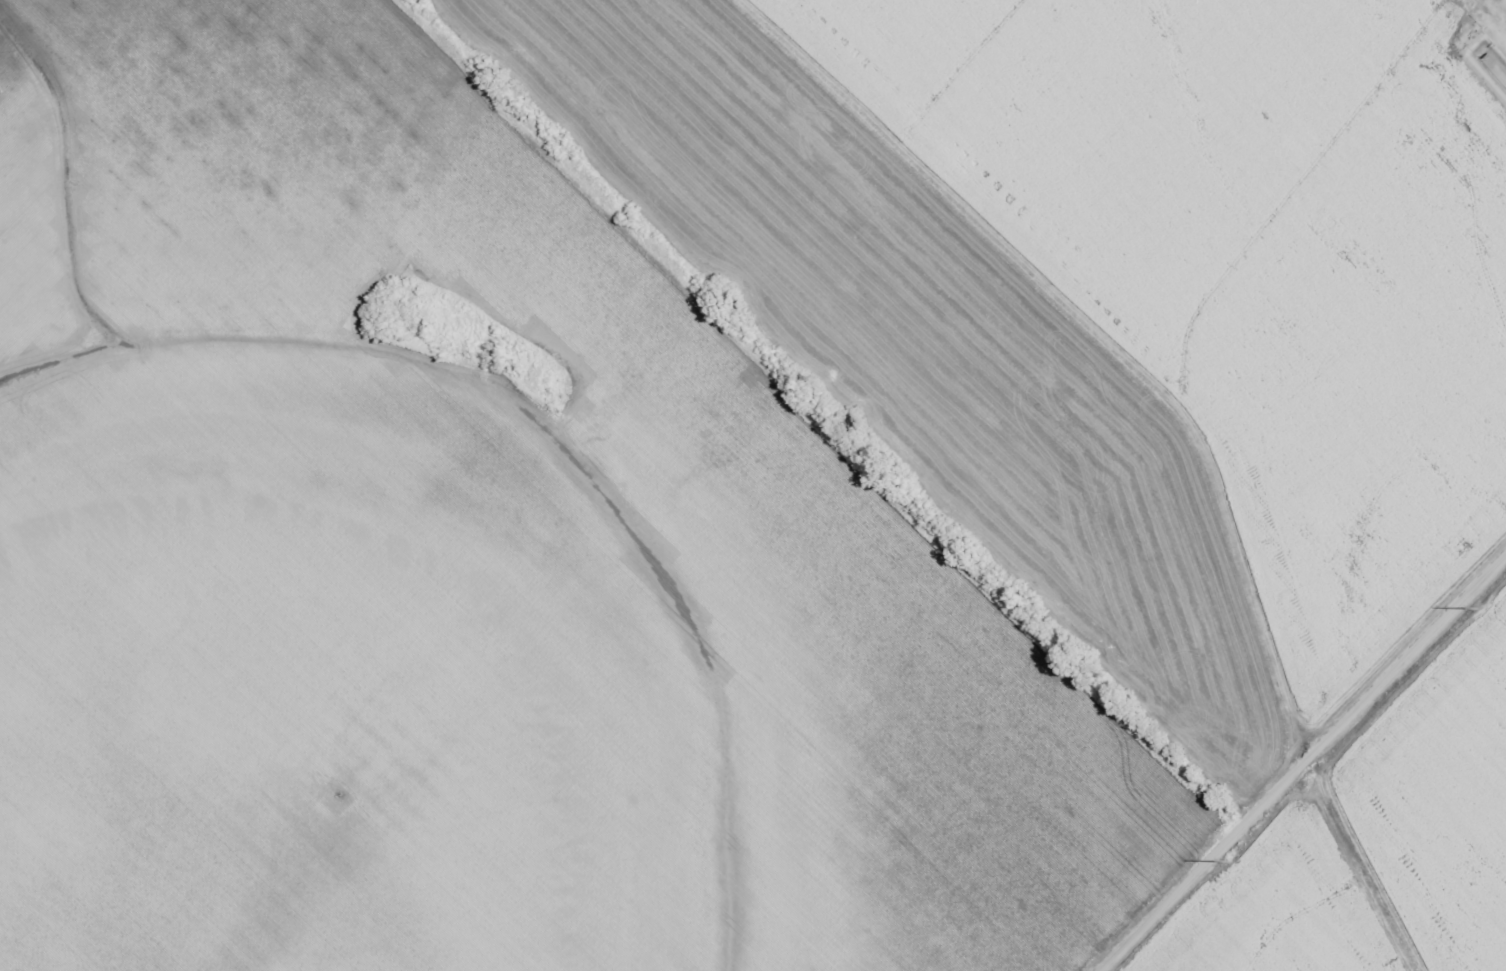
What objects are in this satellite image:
power tower: (1475, 610)
road: (1307, 765)
power tower: (1230, 861)

